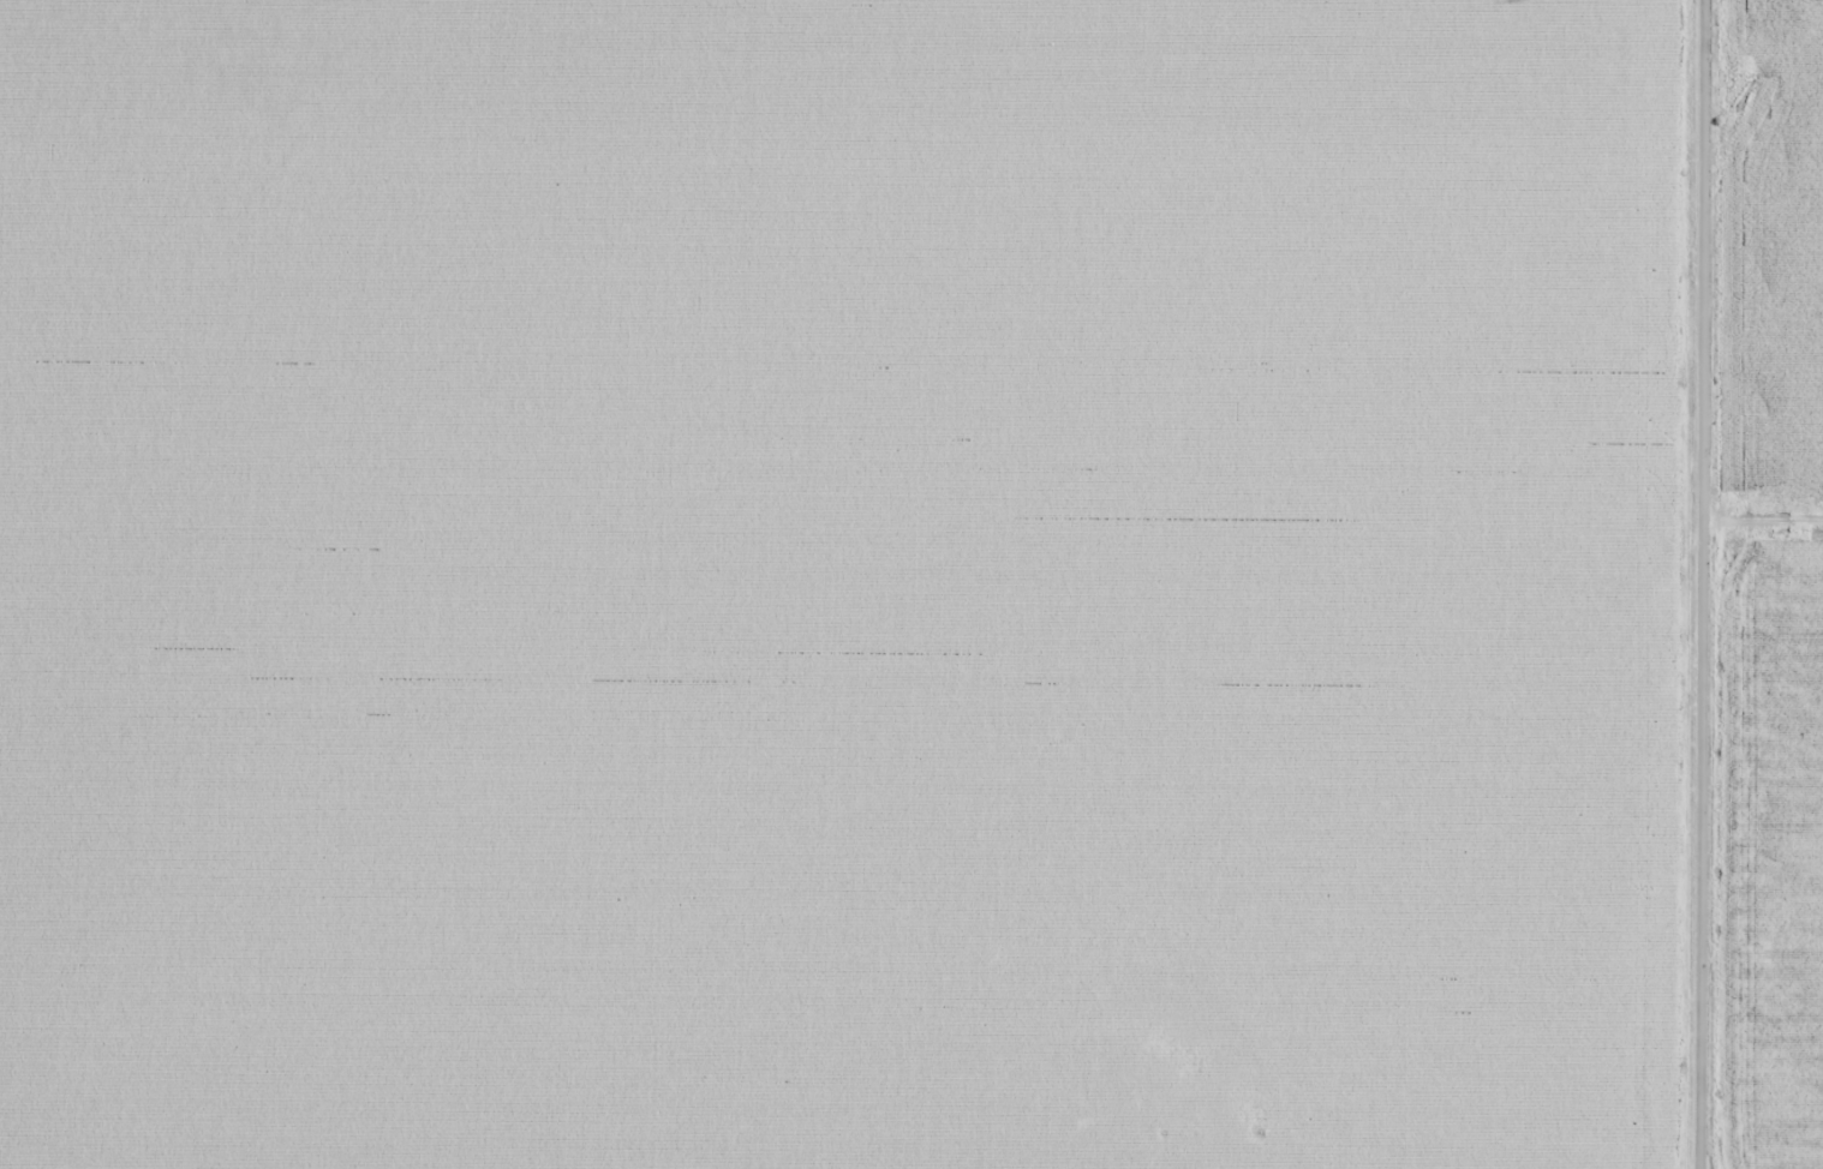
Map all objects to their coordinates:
road: (1703, 584)

